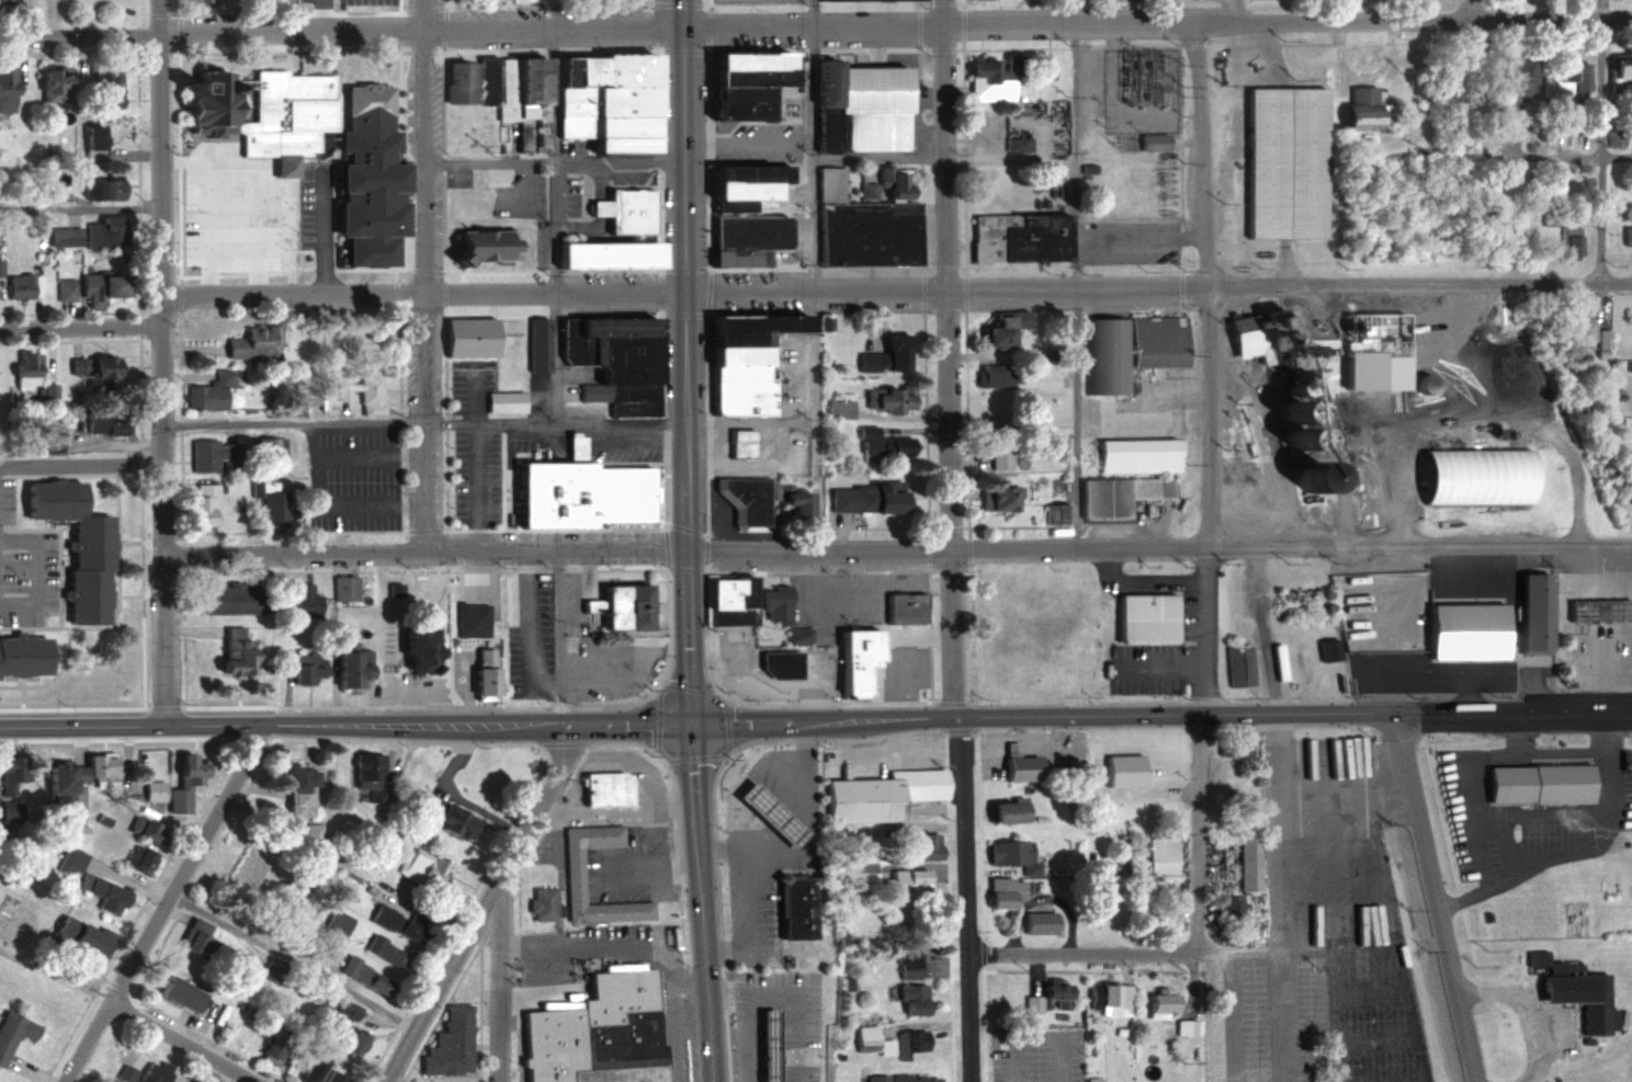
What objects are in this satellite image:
building: (196, 0)
building: (848, 0)
road: (648, 1)
building: (748, 1)
parking lot: (344, 2)
road: (449, 4)
road: (545, 5)
road: (1338, 11)
road: (1469, 11)
road: (157, 12)
road: (400, 12)
road: (1054, 12)
road: (1168, 12)
road: (318, 13)
road: (420, 13)
road: (943, 13)
road: (287, 14)
road: (1156, 24)
road: (340, 26)
road: (288, 53)
building: (987, 66)
building: (1618, 66)
building: (1047, 73)
road: (1363, 76)
building: (1567, 77)
building: (740, 80)
building: (48, 86)
building: (864, 86)
building: (1509, 87)
building: (101, 88)
road: (974, 88)
building: (5, 90)
power substation: (1142, 90)
building: (500, 93)
building: (199, 102)
building: (599, 102)
building: (1360, 107)
building: (280, 114)
building: (868, 130)
building: (1015, 141)
road: (1600, 141)
building: (93, 143)
road: (1201, 155)
road: (1617, 156)
road: (158, 159)
road: (877, 161)
road: (552, 162)
building: (1283, 163)
building: (1085, 166)
building: (362, 175)
building: (891, 180)
building: (830, 186)
building: (101, 187)
building: (864, 187)
road: (79, 208)
parking lot: (234, 208)
building: (467, 208)
building: (631, 209)
parking lot: (315, 212)
building: (744, 216)
building: (103, 234)
road: (327, 235)
building: (868, 235)
building: (1624, 235)
building: (64, 237)
building: (1021, 239)
building: (479, 243)
building: (598, 253)
road: (1074, 274)
road: (815, 276)
road: (1419, 284)
building: (21, 286)
building: (97, 288)
building: (64, 289)
road: (421, 289)
road: (945, 291)
road: (421, 296)
road: (159, 309)
building: (998, 324)
road: (79, 326)
building: (1580, 328)
building: (1251, 329)
building: (461, 334)
building: (246, 342)
building: (1507, 342)
building: (535, 343)
building: (1057, 348)
building: (1124, 349)
building: (1041, 353)
building: (884, 354)
building: (611, 356)
road: (683, 362)
building: (739, 362)
building: (1514, 362)
building: (21, 372)
building: (92, 372)
road: (947, 372)
building: (1283, 372)
building: (990, 374)
parking lot: (464, 384)
building: (1425, 384)
building: (1288, 385)
building: (207, 391)
building: (303, 392)
building: (361, 394)
parking lot: (535, 395)
building: (882, 398)
building: (501, 401)
building: (837, 407)
building: (1293, 409)
road: (1208, 418)
road: (553, 420)
road: (292, 421)
building: (115, 422)
road: (915, 426)
building: (864, 428)
building: (1045, 428)
building: (1299, 433)
parking lot: (532, 441)
building: (736, 441)
building: (993, 442)
building: (884, 443)
parking lot: (620, 444)
building: (265, 447)
building: (213, 451)
building: (1133, 453)
road: (365, 457)
road: (80, 458)
building: (1470, 474)
building: (1306, 475)
parking lot: (469, 476)
parking lot: (349, 477)
road: (480, 487)
building: (1063, 487)
building: (575, 491)
building: (1114, 491)
building: (864, 494)
building: (994, 494)
building: (756, 496)
building: (270, 504)
road: (321, 508)
building: (1053, 511)
building: (196, 512)
road: (161, 524)
road: (838, 533)
road: (1053, 536)
building: (100, 546)
road: (1420, 548)
road: (945, 551)
road: (422, 555)
road: (42, 576)
road: (1147, 579)
building: (345, 588)
building: (394, 590)
building: (93, 596)
building: (727, 597)
building: (229, 600)
building: (306, 602)
building: (772, 603)
building: (620, 604)
building: (899, 605)
building: (1595, 607)
building: (1529, 610)
building: (1142, 614)
building: (475, 619)
parking lot: (525, 625)
building: (1460, 628)
road: (1265, 630)
road: (1204, 631)
building: (794, 634)
road: (525, 635)
road: (559, 639)
building: (1326, 647)
building: (243, 648)
building: (415, 650)
building: (30, 657)
building: (1274, 658)
building: (773, 660)
building: (854, 662)
road: (1160, 663)
building: (1236, 663)
building: (1, 665)
parking lot: (1145, 668)
building: (313, 669)
building: (355, 669)
building: (488, 672)
building: (478, 684)
road: (1573, 709)
road: (1101, 715)
road: (658, 721)
traffic signals: (690, 724)
road: (344, 725)
road: (727, 728)
building: (1227, 745)
road: (1560, 752)
building: (106, 765)
road: (797, 766)
building: (1018, 767)
building: (196, 768)
building: (365, 770)
building: (13, 773)
building: (292, 779)
building: (1539, 785)
building: (66, 787)
building: (601, 787)
building: (158, 790)
building: (879, 793)
building: (183, 798)
building: (433, 807)
gas station: (766, 810)
building: (1005, 810)
road: (1569, 811)
building: (13, 812)
building: (763, 812)
road: (771, 817)
parking lot: (1525, 819)
building: (462, 821)
road: (1478, 827)
building: (138, 829)
building: (152, 831)
road: (1199, 831)
building: (311, 834)
building: (649, 836)
building: (922, 844)
road: (733, 845)
building: (1009, 854)
building: (1158, 855)
building: (146, 859)
building: (75, 862)
building: (427, 867)
building: (860, 872)
building: (568, 874)
building: (907, 879)
building: (1002, 891)
building: (110, 893)
road: (1433, 896)
road: (1278, 897)
road: (965, 899)
road: (161, 902)
road: (699, 902)
building: (537, 903)
building: (4, 906)
road: (487, 907)
building: (1228, 907)
road: (744, 908)
building: (796, 909)
building: (1038, 922)
building: (340, 923)
building: (411, 926)
building: (917, 926)
building: (89, 937)
building: (189, 943)
building: (388, 950)
road: (1085, 954)
road: (1238, 954)
road: (292, 960)
building: (907, 963)
building: (273, 971)
building: (376, 976)
building: (1565, 986)
road: (502, 991)
building: (188, 992)
building: (1050, 996)
building: (1109, 998)
building: (910, 999)
building: (1157, 1000)
building: (316, 1006)
building: (348, 1011)
road: (1527, 1011)
parking lot: (1238, 1012)
road: (1232, 1018)
parking lot: (1358, 1020)
building: (1185, 1027)
building: (594, 1030)
building: (15, 1034)
building: (349, 1040)
building: (868, 1040)
road: (182, 1041)
building: (908, 1041)
building: (450, 1045)
building: (760, 1045)
building: (280, 1047)
gas station: (766, 1047)
parking lot: (1036, 1055)
building: (1450, 1056)
building: (309, 1071)
building: (157, 1073)
building: (126, 1074)
building: (874, 1078)
building: (911, 1078)
building: (333, 1079)
building: (189, 1080)
building: (195, 1080)
building: (1091, 1080)

